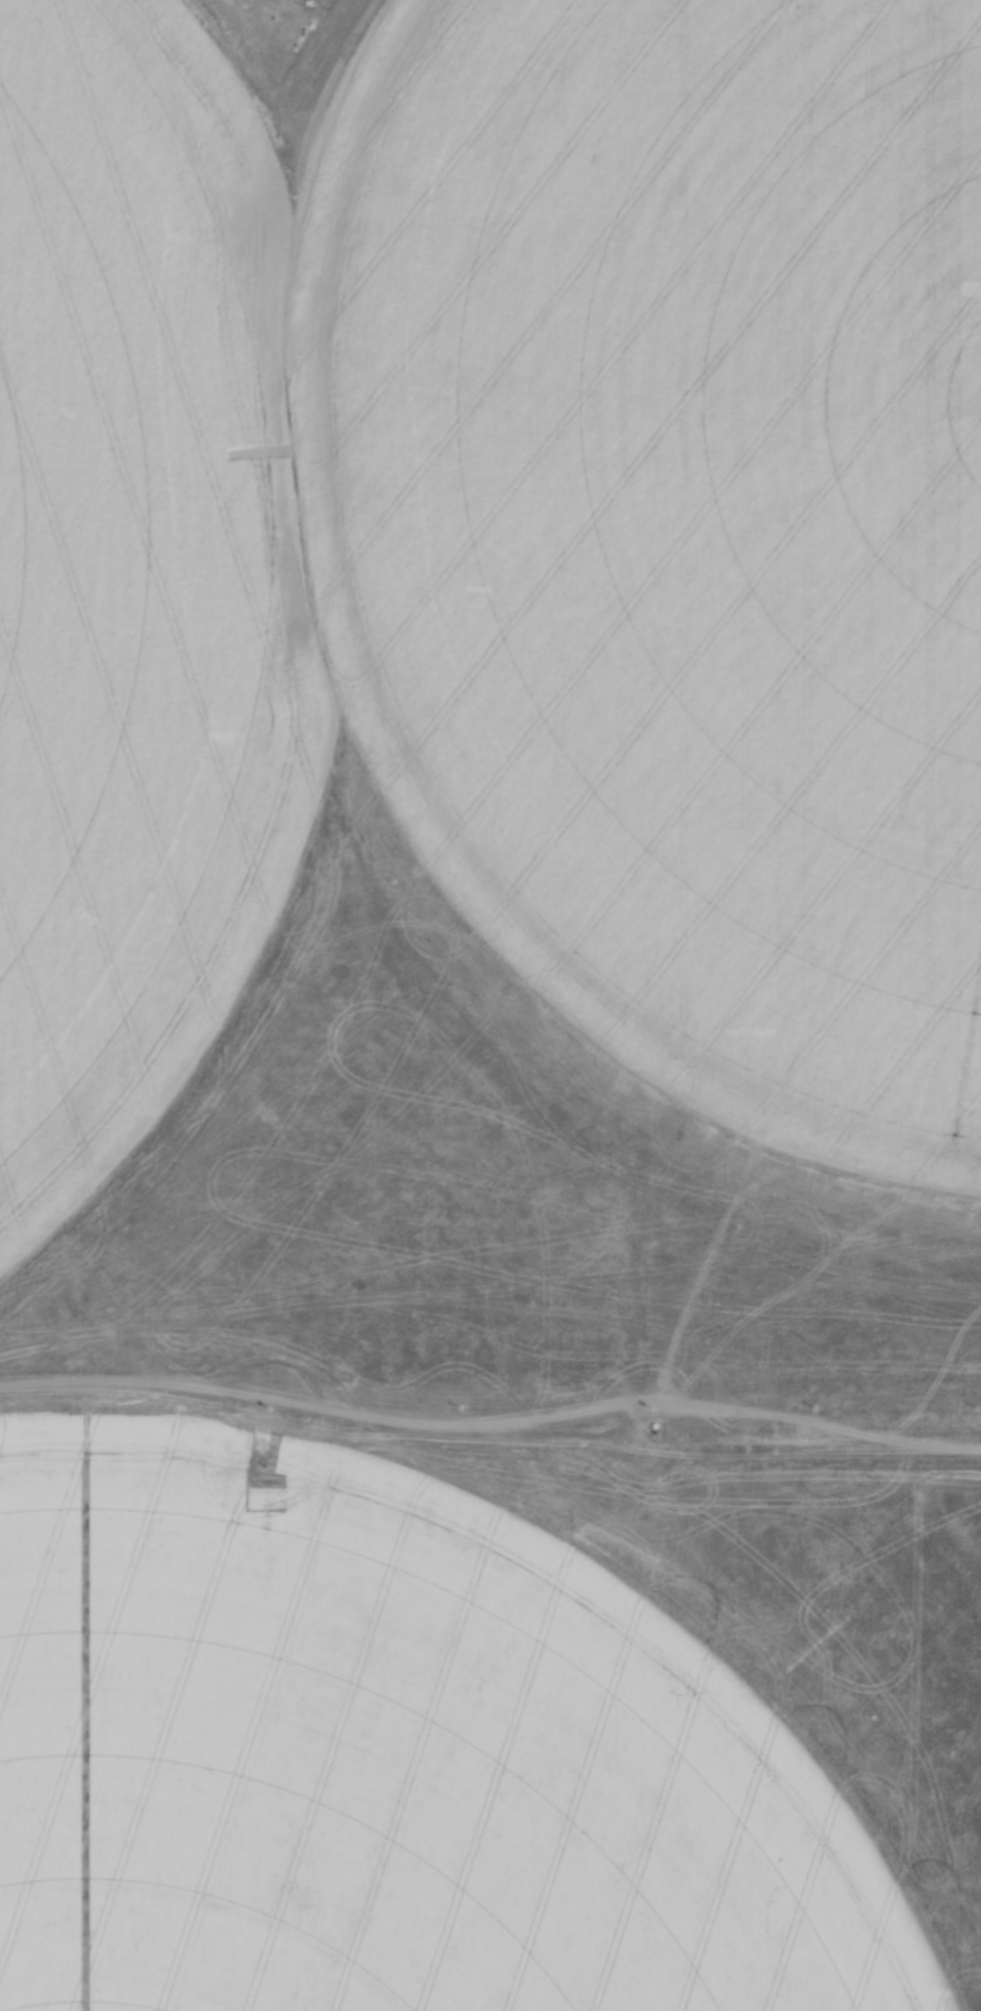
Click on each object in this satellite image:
road: (488, 1440)

